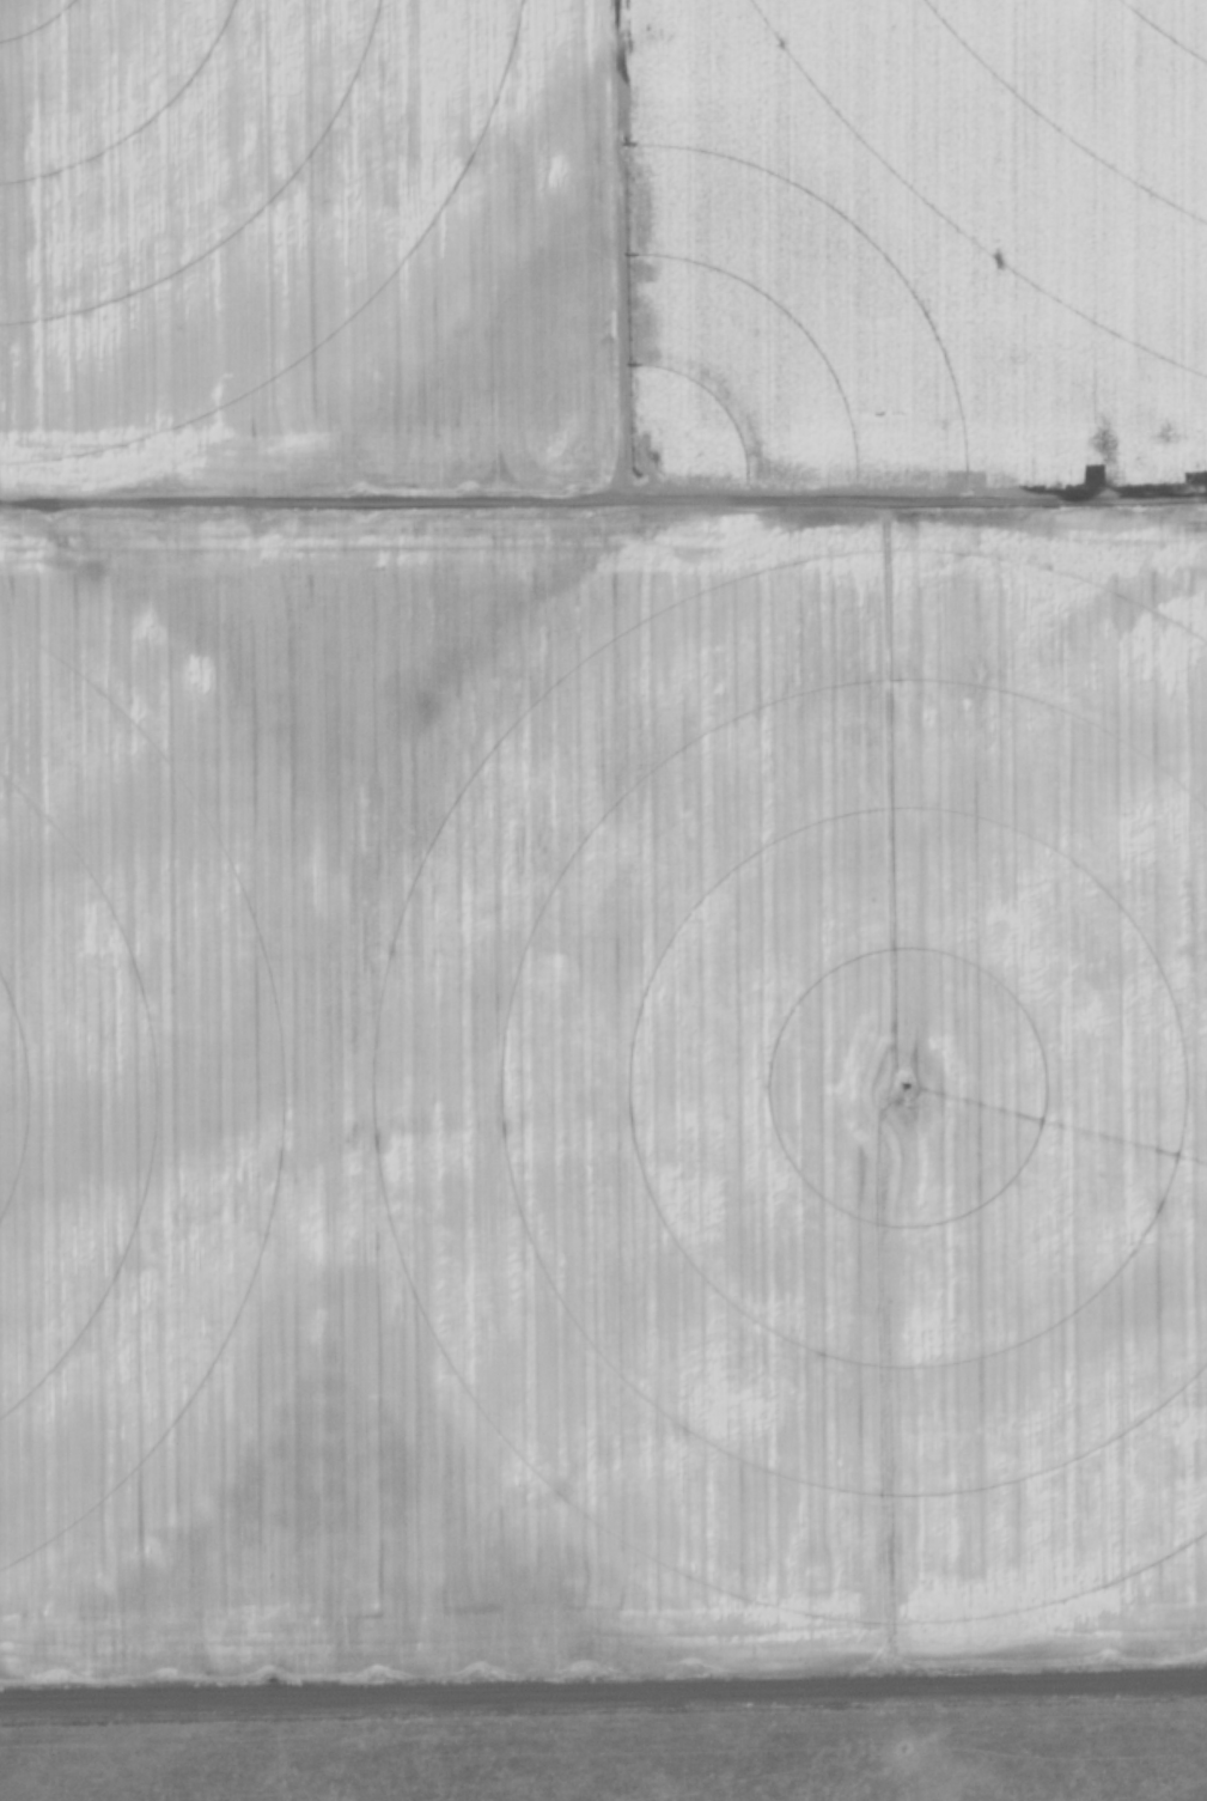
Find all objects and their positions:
road: (603, 1689)

